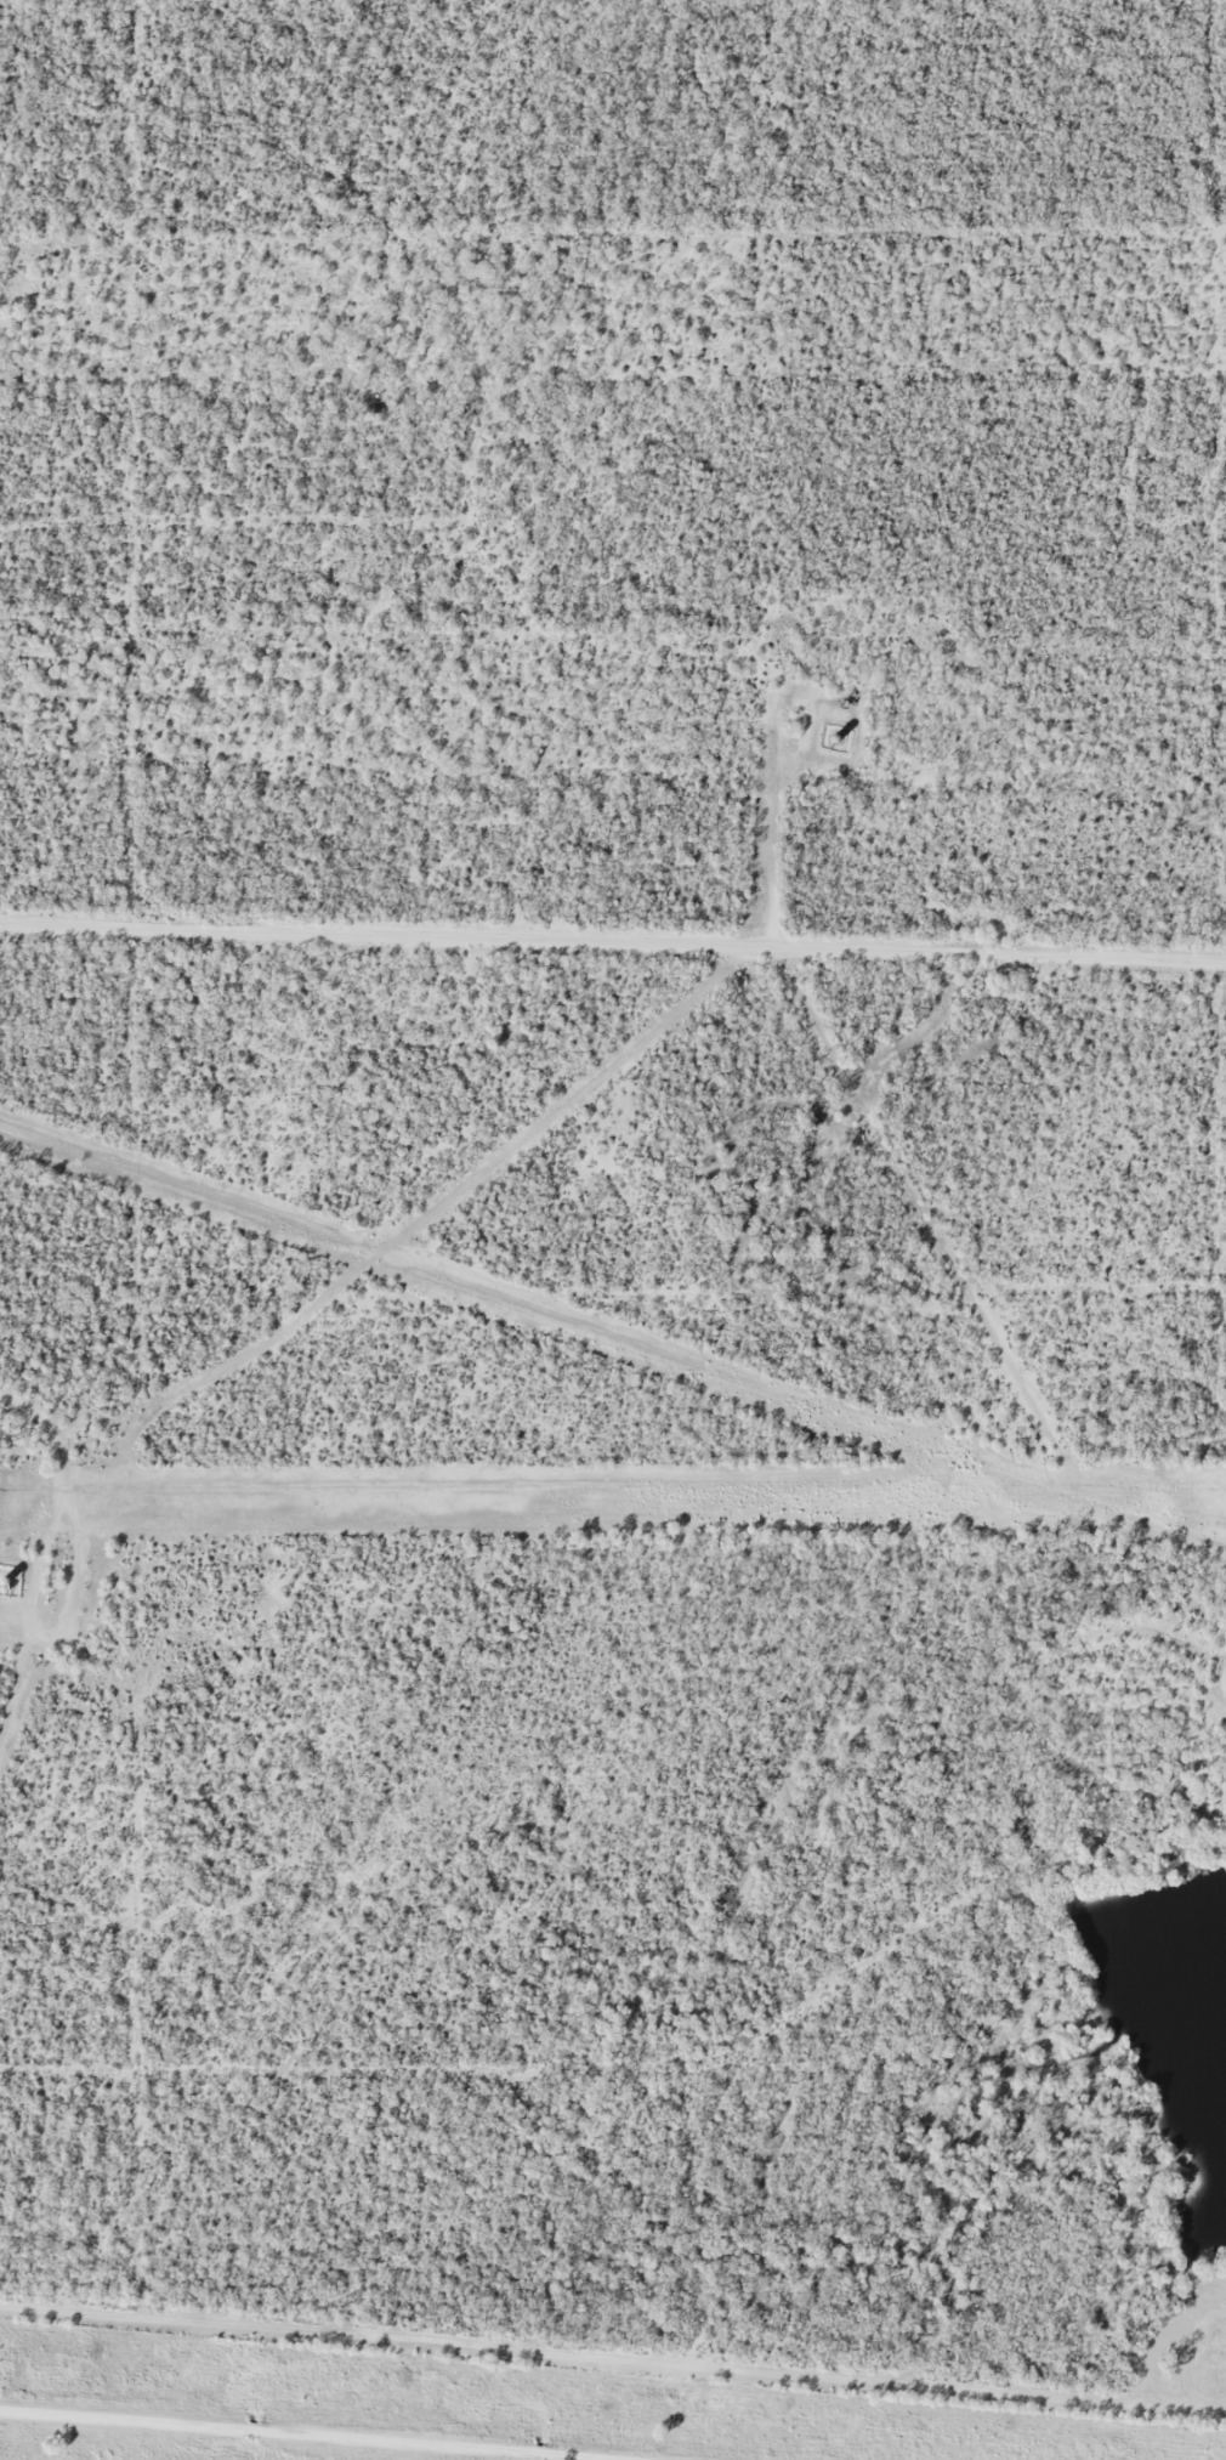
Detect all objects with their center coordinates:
road: (322, 2433)

